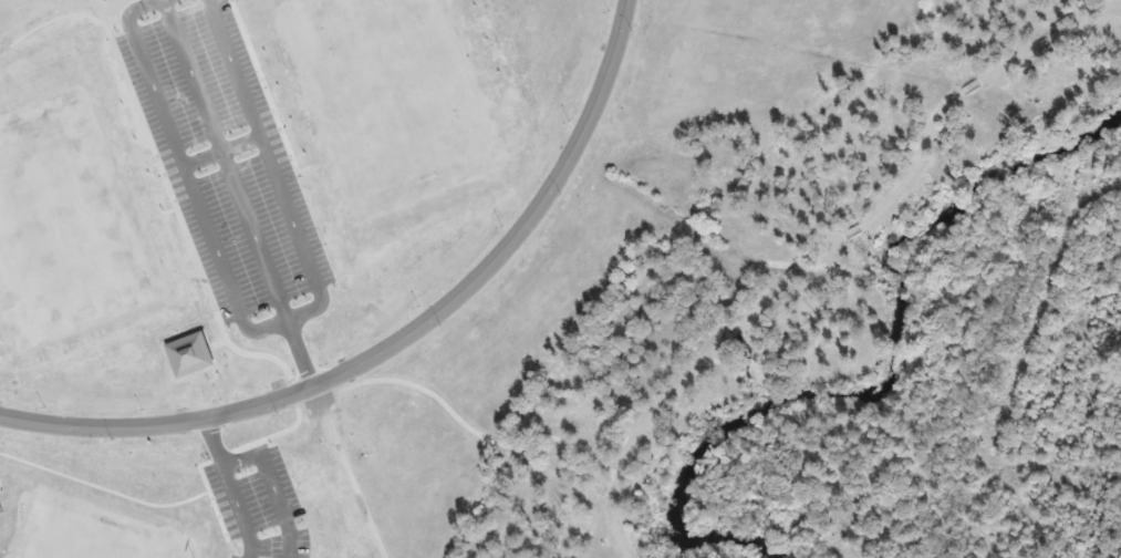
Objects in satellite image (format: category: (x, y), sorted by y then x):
road: (940, 115)
parking lot: (224, 163)
park: (256, 180)
road: (798, 268)
road: (401, 340)
road: (299, 353)
road: (758, 355)
road: (667, 400)
road: (476, 433)
road: (344, 474)

